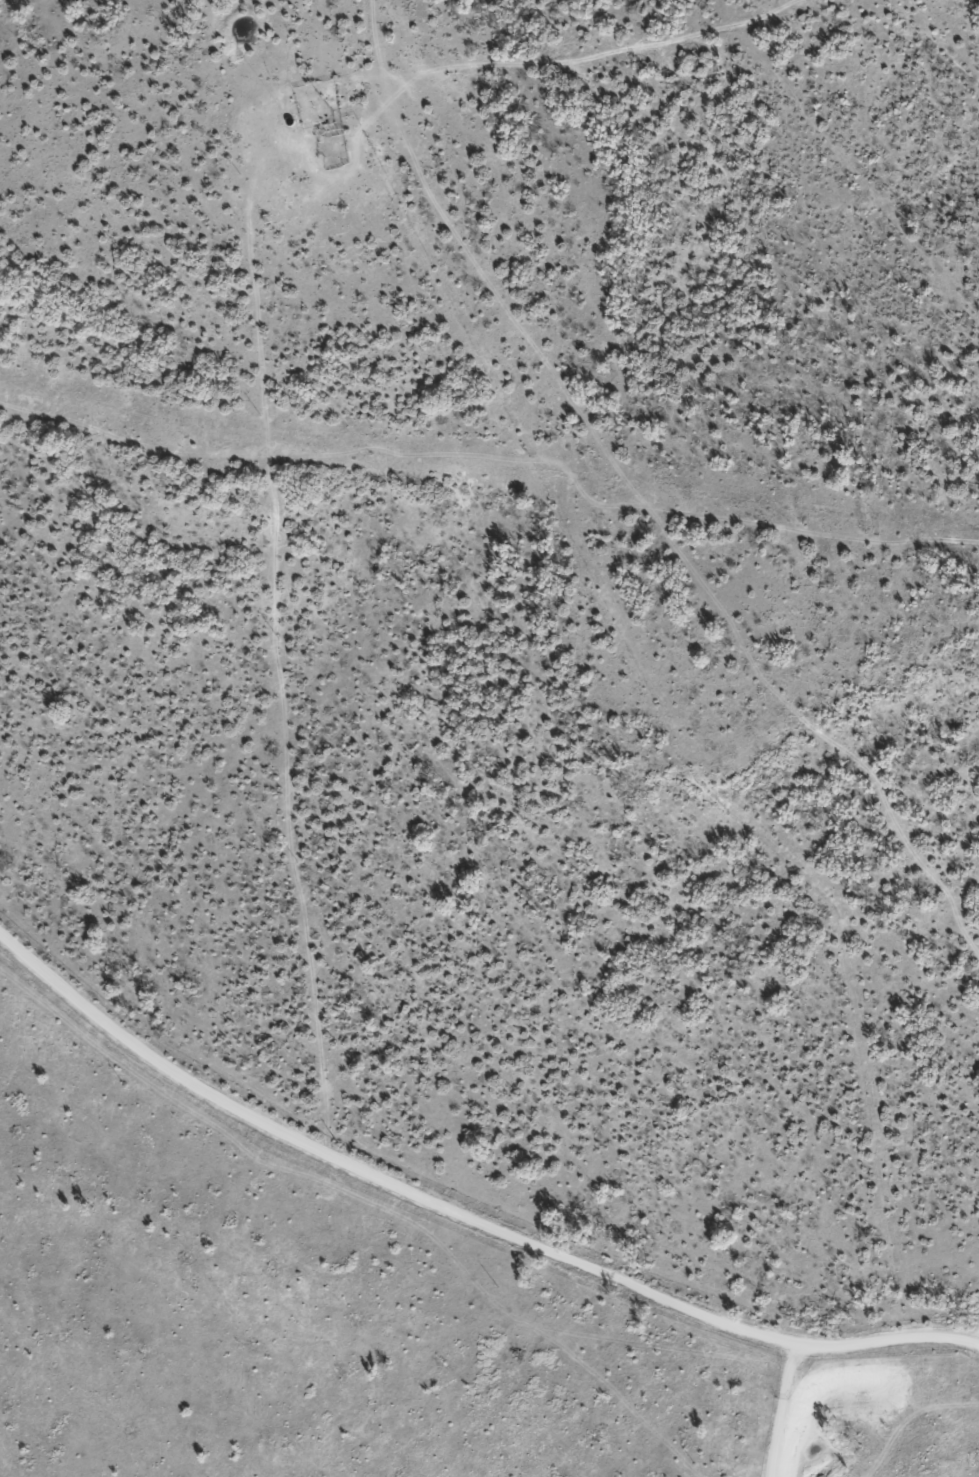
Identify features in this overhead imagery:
road: (304, 652)
road: (458, 1251)
road: (798, 1436)

